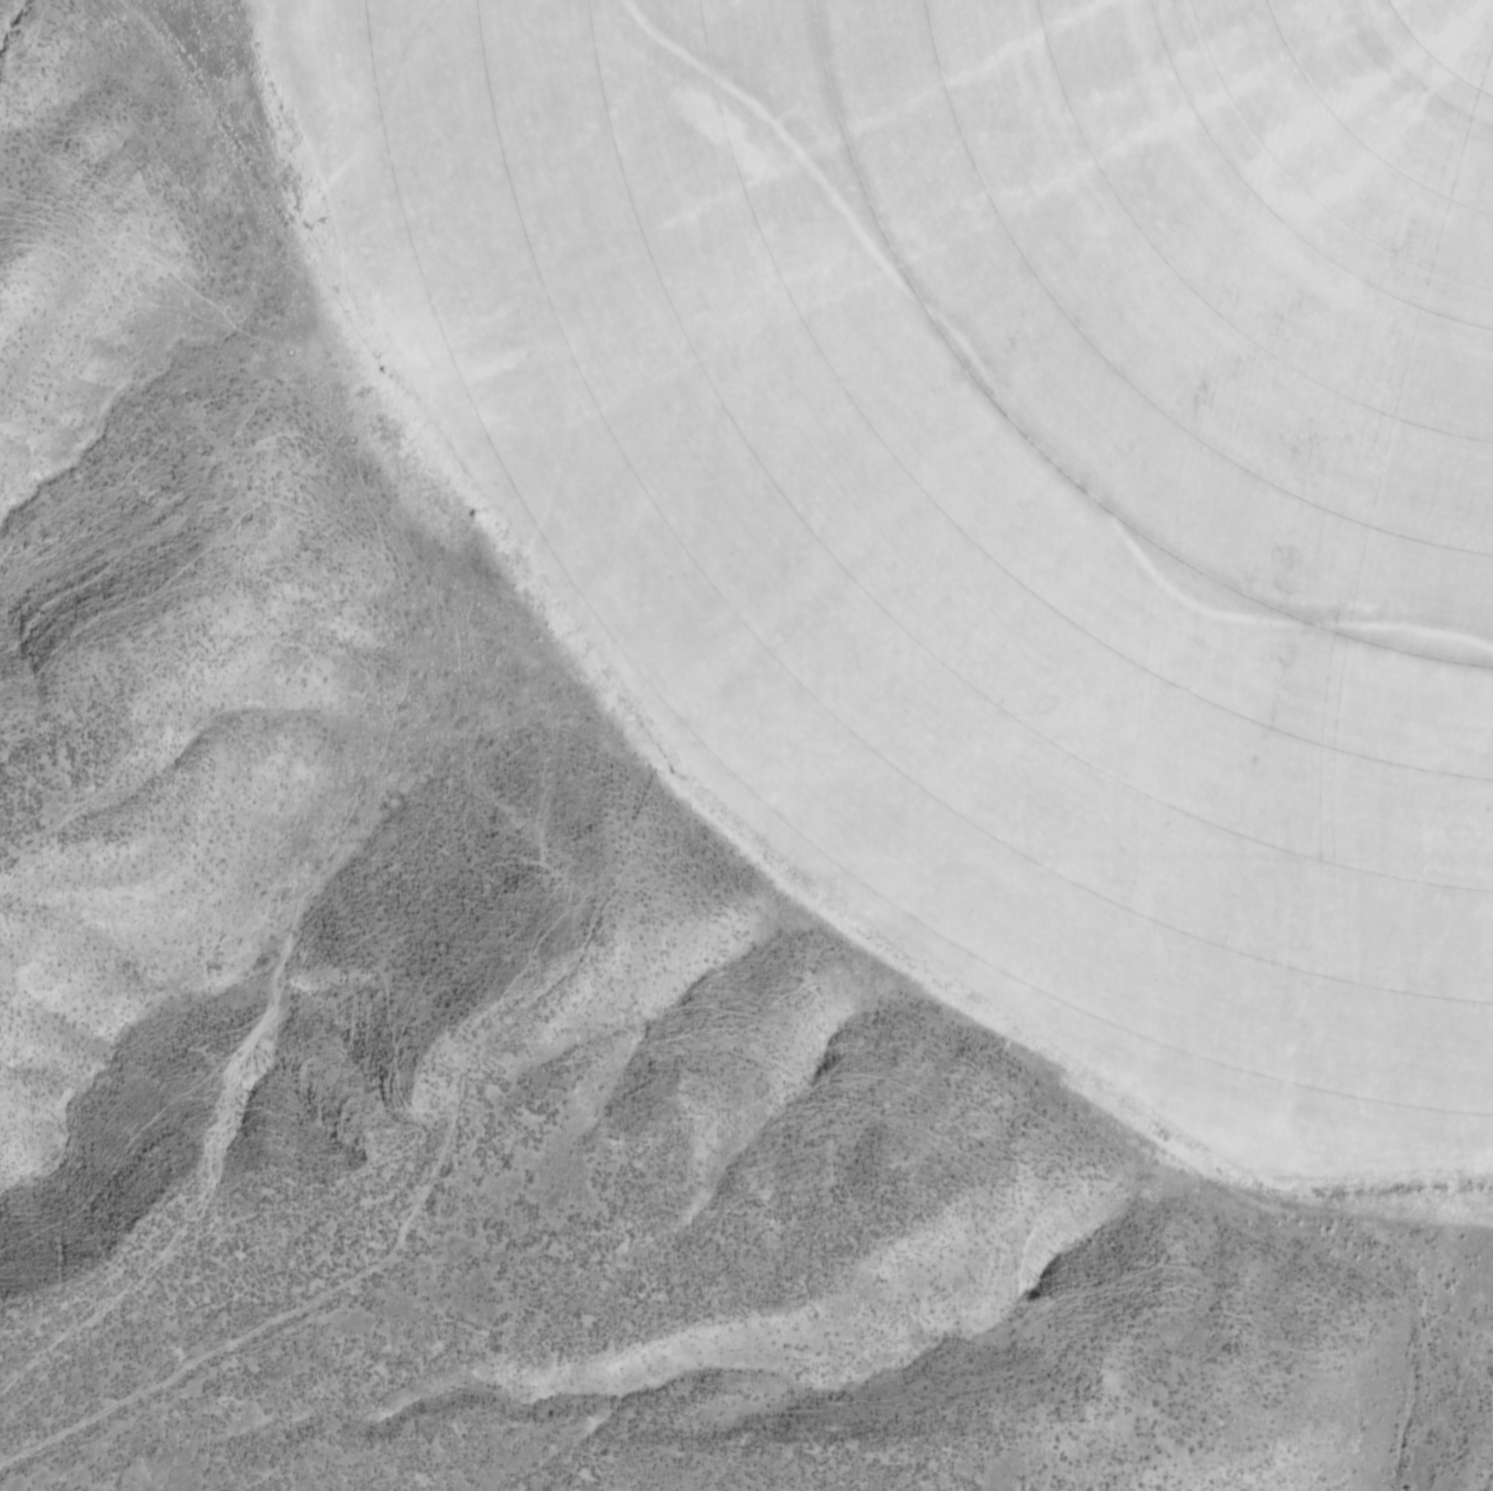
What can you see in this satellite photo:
road: (893, 957)
road: (366, 1271)

